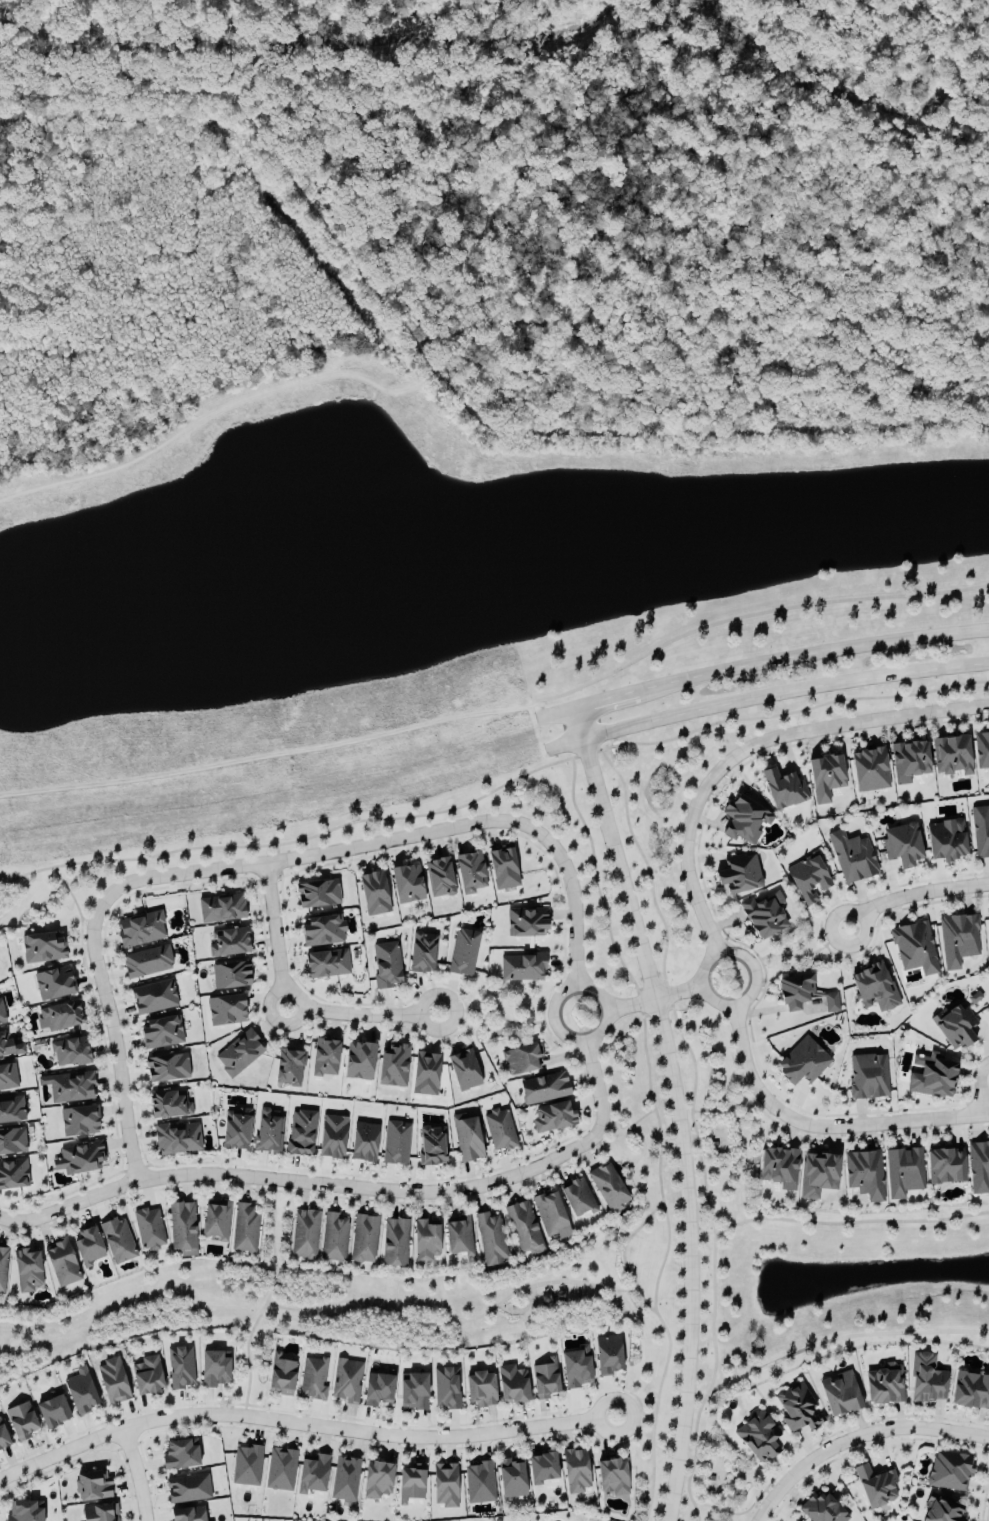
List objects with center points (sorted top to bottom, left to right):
river: (287, 41)
river: (828, 100)
road: (474, 417)
road: (780, 664)
road: (783, 690)
road: (500, 711)
road: (786, 712)
road: (579, 724)
road: (751, 746)
building: (981, 751)
building: (951, 756)
building: (908, 761)
building: (868, 770)
building: (825, 777)
building: (780, 789)
building: (744, 821)
building: (980, 832)
road: (398, 838)
building: (945, 840)
building: (901, 845)
building: (851, 858)
building: (502, 868)
building: (469, 873)
building: (738, 875)
building: (438, 877)
building: (808, 880)
building: (406, 884)
building: (317, 894)
building: (373, 894)
road: (914, 894)
building: (220, 909)
building: (763, 915)
building: (525, 922)
building: (987, 929)
building: (139, 930)
building: (321, 931)
building: (957, 940)
building: (227, 943)
building: (41, 948)
building: (914, 948)
building: (462, 953)
building: (421, 954)
building: (146, 962)
building: (326, 964)
building: (385, 965)
building: (521, 968)
building: (230, 976)
building: (52, 984)
building: (873, 988)
road: (681, 992)
building: (153, 998)
road: (737, 1002)
building: (829, 1003)
road: (632, 1005)
road: (289, 1007)
building: (225, 1010)
building: (1, 1016)
building: (59, 1017)
building: (954, 1027)
building: (161, 1033)
road: (586, 1037)
road: (112, 1044)
building: (3, 1046)
building: (69, 1052)
building: (238, 1054)
building: (324, 1058)
building: (521, 1059)
building: (358, 1061)
building: (801, 1063)
building: (392, 1066)
building: (166, 1068)
building: (288, 1068)
building: (463, 1070)
building: (424, 1074)
building: (931, 1076)
building: (868, 1077)
building: (7, 1078)
building: (68, 1087)
building: (543, 1089)
road: (981, 1089)
building: (168, 1106)
building: (11, 1110)
building: (552, 1118)
building: (78, 1122)
road: (681, 1123)
road: (822, 1127)
building: (234, 1129)
building: (499, 1130)
building: (267, 1131)
building: (300, 1134)
building: (331, 1137)
building: (466, 1138)
building: (177, 1139)
building: (12, 1142)
building: (363, 1143)
building: (395, 1144)
building: (431, 1146)
building: (78, 1158)
building: (944, 1167)
building: (978, 1167)
building: (778, 1168)
building: (903, 1172)
building: (12, 1174)
building: (817, 1175)
building: (864, 1175)
road: (352, 1186)
building: (607, 1189)
building: (576, 1198)
building: (550, 1216)
building: (214, 1221)
building: (523, 1229)
building: (148, 1230)
building: (181, 1230)
building: (243, 1230)
building: (303, 1236)
building: (457, 1237)
building: (333, 1239)
building: (363, 1240)
building: (490, 1240)
building: (424, 1241)
building: (116, 1242)
building: (394, 1243)
building: (86, 1247)
building: (60, 1264)
building: (2, 1270)
building: (26, 1271)
building: (607, 1356)
building: (180, 1368)
building: (575, 1368)
building: (214, 1369)
building: (281, 1375)
building: (146, 1377)
building: (312, 1380)
building: (926, 1380)
building: (346, 1381)
building: (111, 1382)
building: (543, 1382)
building: (511, 1386)
building: (884, 1386)
building: (445, 1389)
building: (377, 1390)
building: (479, 1390)
building: (970, 1391)
building: (80, 1392)
building: (412, 1392)
building: (839, 1395)
building: (796, 1409)
building: (51, 1413)
building: (20, 1422)
road: (304, 1425)
road: (857, 1437)
building: (757, 1438)
building: (2, 1439)
building: (179, 1456)
building: (245, 1467)
building: (541, 1469)
building: (280, 1470)
building: (574, 1471)
building: (949, 1472)
road: (133, 1474)
building: (311, 1475)
building: (510, 1479)
building: (611, 1479)
building: (344, 1480)
building: (376, 1481)
building: (411, 1483)
building: (479, 1483)
building: (444, 1486)
building: (875, 1486)
building: (91, 1487)
building: (187, 1490)
building: (821, 1510)
building: (941, 1511)
building: (22, 1512)
building: (99, 1513)
building: (189, 1515)

